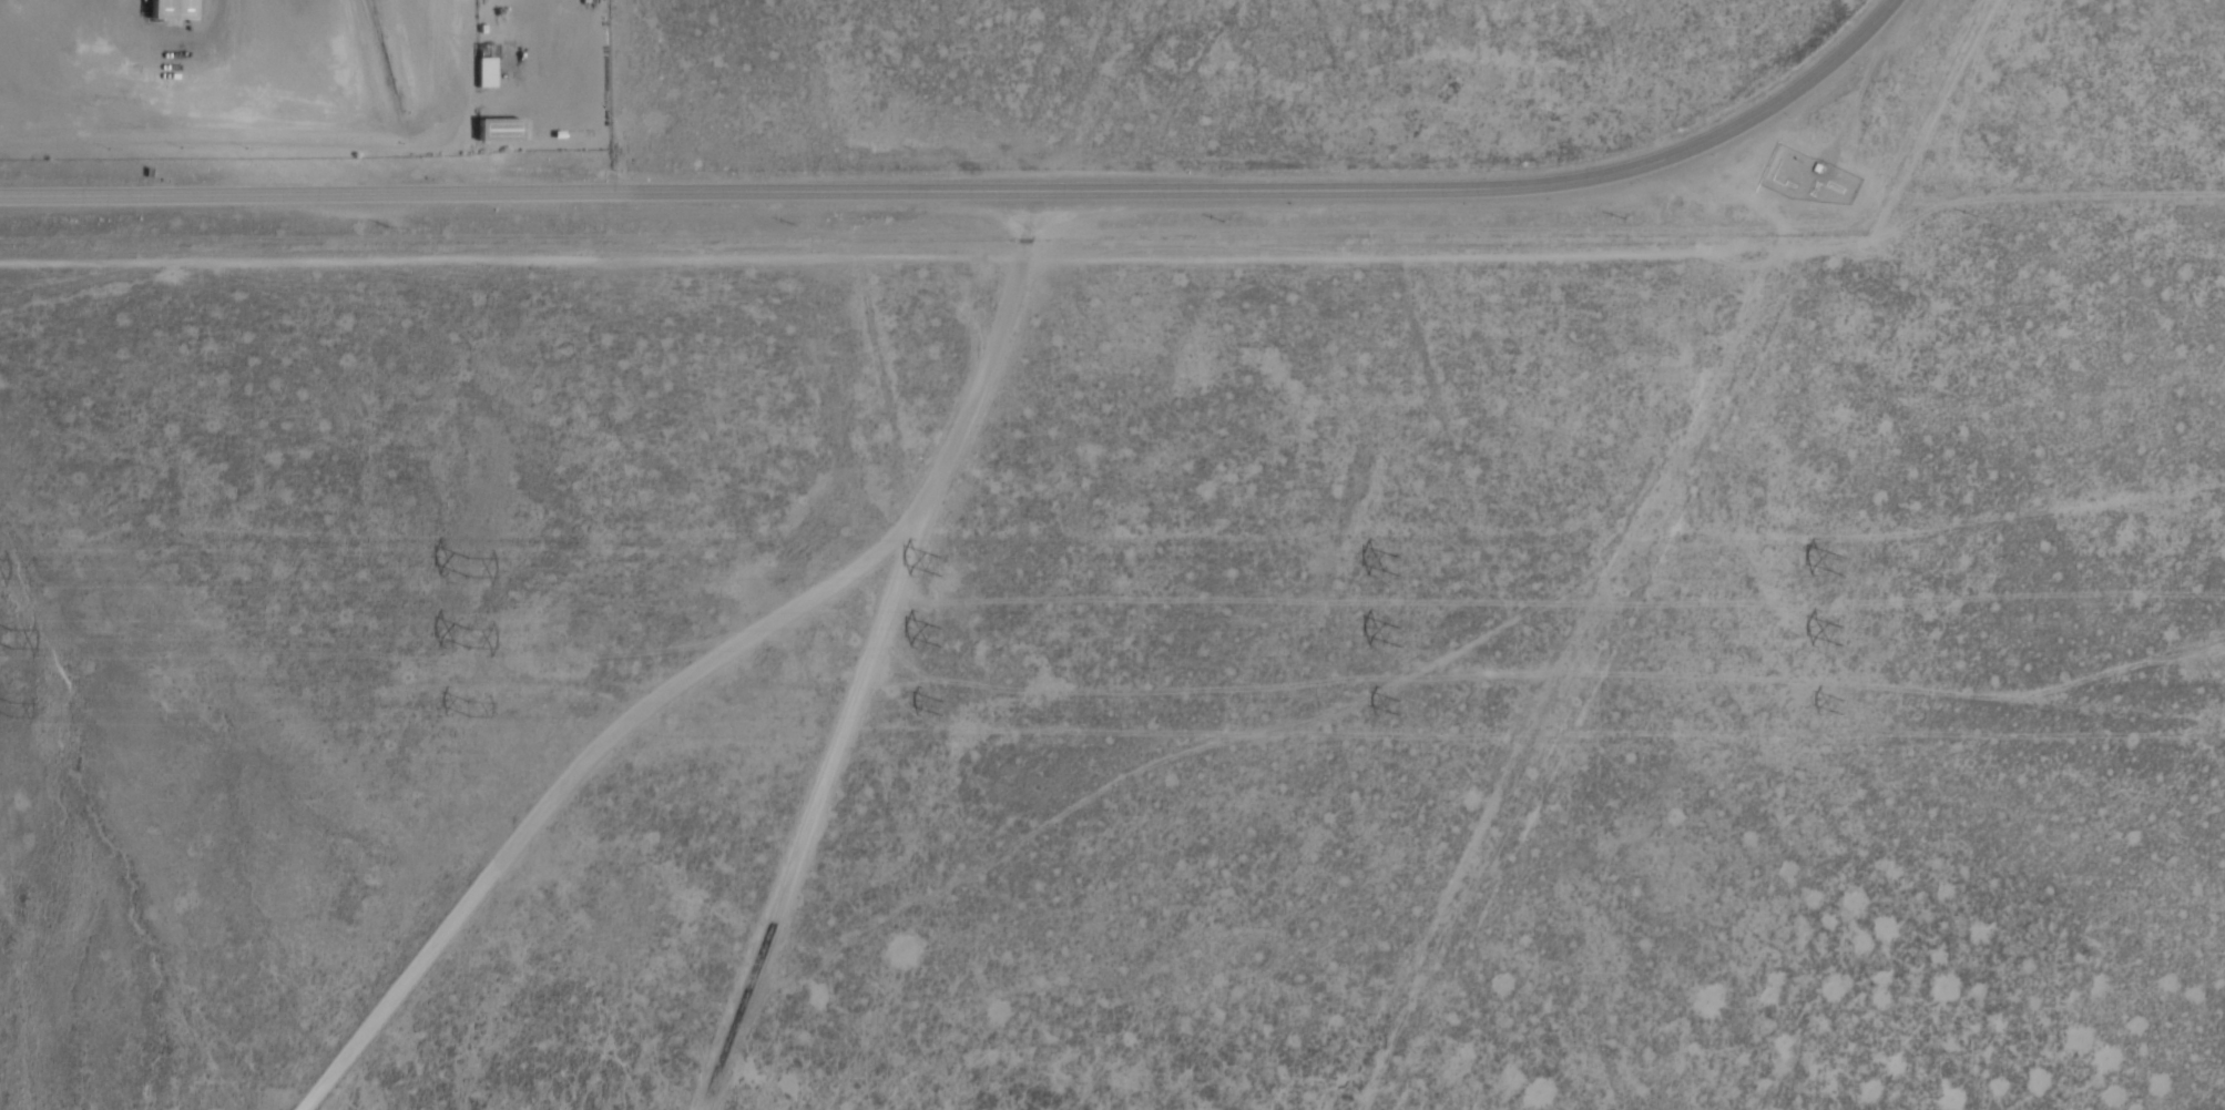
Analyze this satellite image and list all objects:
building: (175, 10)
railway: (372, 19)
railway: (382, 57)
building: (487, 67)
power plant: (309, 77)
building: (501, 131)
road: (983, 193)
road: (888, 340)
power tower: (1846, 560)
power tower: (468, 561)
power tower: (942, 563)
power tower: (1401, 566)
power tower: (1405, 631)
power tower: (1841, 632)
power tower: (941, 633)
power tower: (10, 634)
power tower: (470, 634)
road: (1460, 661)
road: (711, 665)
power tower: (11, 704)
power tower: (1406, 704)
power tower: (1844, 704)
power tower: (943, 705)
power tower: (473, 706)
road: (817, 797)
road: (1507, 839)

